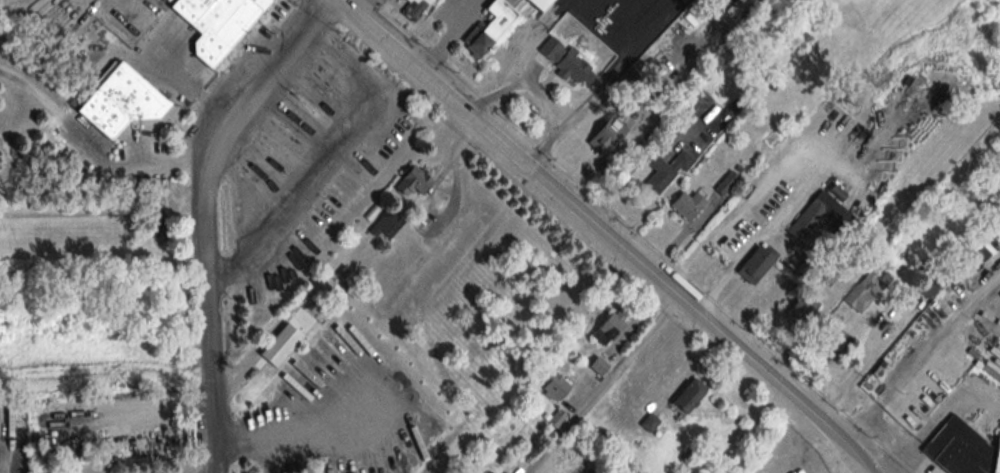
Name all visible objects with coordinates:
building: (540, 4)
building: (414, 9)
building: (217, 24)
building: (491, 28)
road: (448, 37)
road: (427, 46)
building: (567, 62)
road: (413, 68)
building: (118, 101)
road: (58, 117)
building: (609, 133)
road: (165, 160)
building: (666, 171)
road: (58, 174)
building: (413, 181)
road: (746, 204)
building: (688, 205)
building: (811, 216)
road: (208, 217)
road: (441, 220)
building: (386, 224)
building: (728, 240)
building: (756, 263)
building: (830, 271)
building: (866, 289)
road: (681, 302)
road: (729, 314)
building: (609, 327)
road: (805, 327)
building: (833, 336)
road: (939, 337)
building: (281, 344)
building: (598, 366)
building: (554, 386)
road: (604, 386)
building: (689, 395)
building: (556, 418)
road: (858, 421)
building: (649, 423)
road: (900, 443)
building: (962, 449)

